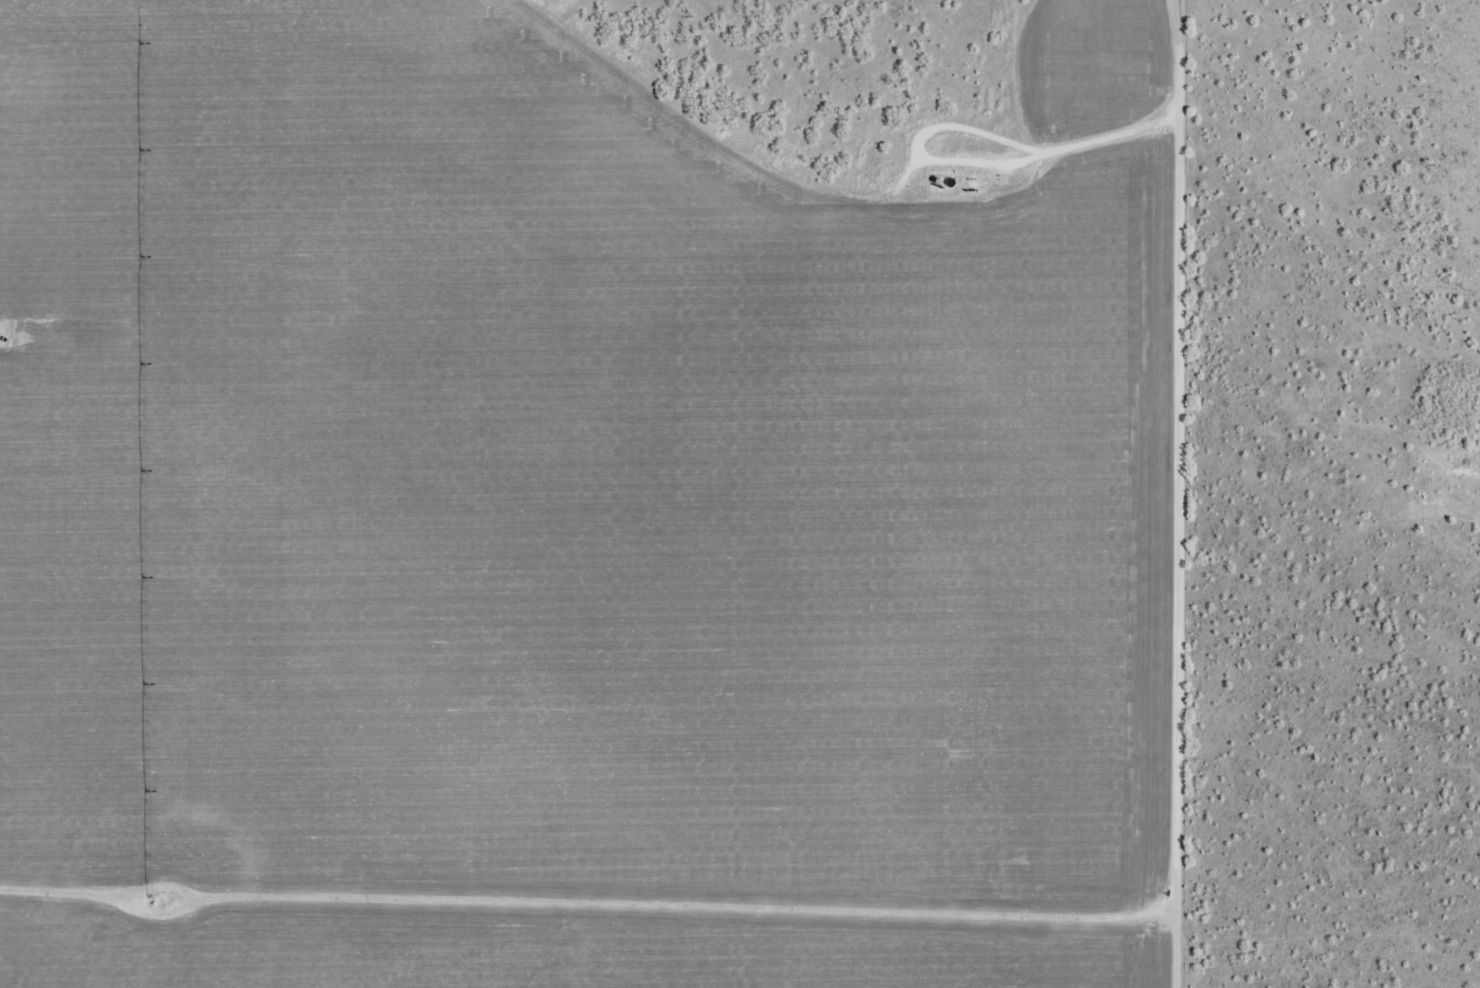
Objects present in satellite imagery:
road: (372, 494)

